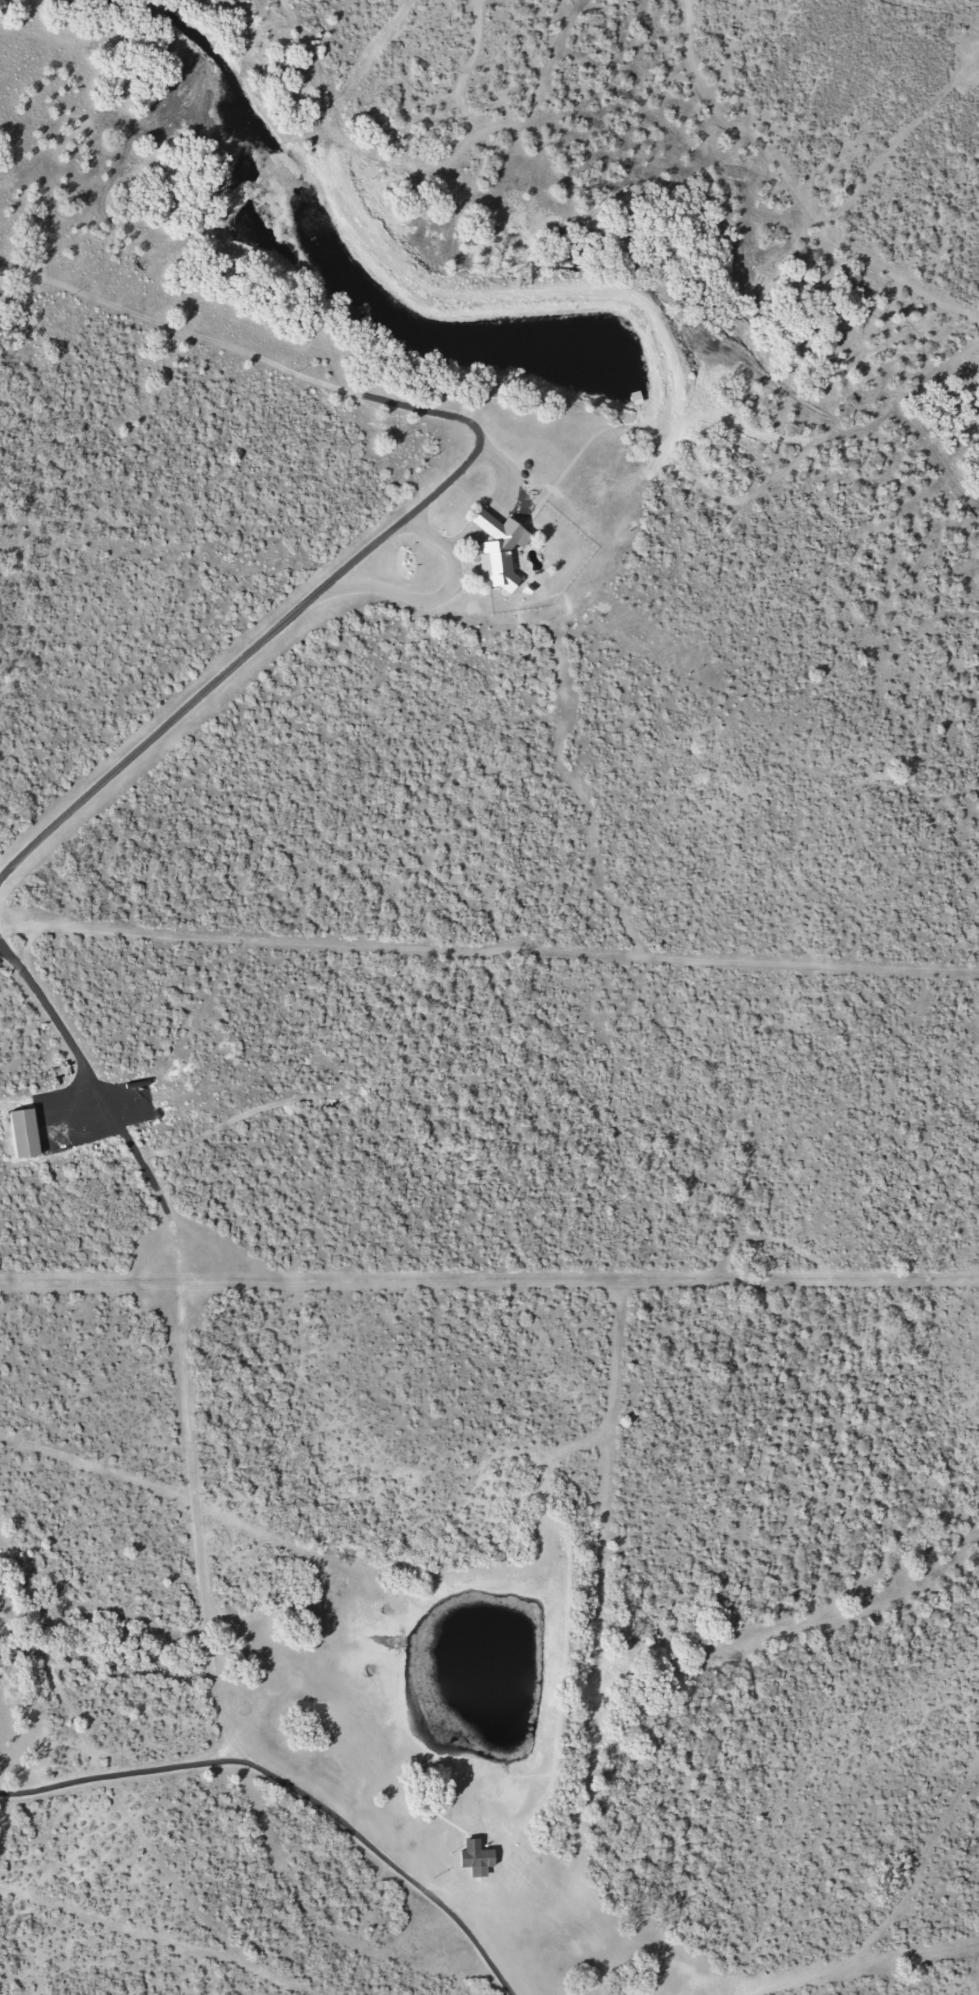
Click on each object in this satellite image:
building: (498, 549)
road: (237, 660)
road: (489, 958)
building: (24, 1131)
road: (291, 1789)
building: (476, 1857)

